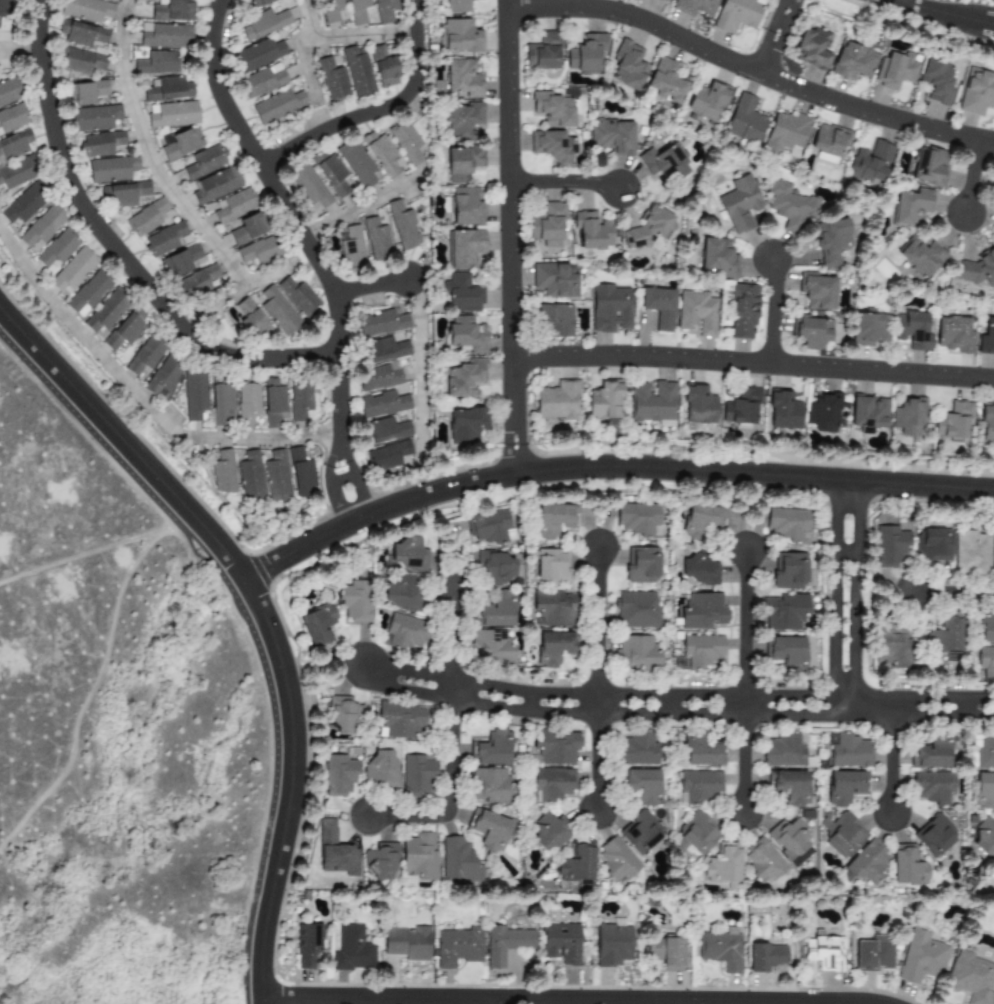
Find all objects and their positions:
building: (662, 0)
building: (259, 3)
road: (504, 4)
building: (456, 6)
building: (694, 6)
building: (3, 8)
building: (86, 9)
building: (173, 10)
building: (332, 10)
building: (357, 11)
building: (386, 11)
road: (937, 12)
building: (736, 14)
road: (781, 17)
road: (982, 22)
road: (989, 22)
building: (264, 24)
building: (81, 33)
road: (346, 35)
building: (165, 36)
building: (459, 36)
road: (18, 44)
building: (811, 48)
building: (542, 52)
building: (585, 52)
road: (767, 54)
building: (258, 55)
building: (853, 61)
road: (304, 62)
building: (157, 63)
building: (627, 66)
building: (383, 68)
road: (748, 69)
building: (895, 69)
building: (358, 71)
building: (333, 78)
building: (459, 79)
building: (263, 81)
building: (665, 81)
building: (937, 81)
building: (168, 89)
building: (8, 92)
building: (976, 92)
building: (85, 93)
building: (707, 100)
building: (277, 107)
road: (376, 109)
building: (552, 109)
building: (174, 115)
building: (12, 118)
building: (94, 118)
building: (462, 119)
building: (744, 120)
building: (785, 132)
building: (612, 135)
building: (406, 142)
building: (829, 142)
building: (100, 143)
building: (181, 143)
building: (14, 145)
building: (552, 146)
building: (382, 153)
road: (148, 156)
building: (205, 161)
building: (870, 162)
building: (357, 163)
building: (462, 163)
building: (663, 163)
building: (929, 166)
building: (111, 169)
building: (17, 172)
building: (331, 173)
road: (971, 176)
road: (267, 179)
road: (563, 182)
building: (993, 183)
building: (308, 185)
building: (215, 186)
building: (123, 194)
building: (739, 203)
building: (789, 204)
building: (23, 205)
building: (234, 205)
road: (358, 206)
building: (466, 206)
building: (911, 207)
building: (146, 218)
building: (547, 224)
building: (403, 226)
building: (42, 227)
building: (247, 229)
building: (646, 229)
building: (592, 230)
building: (163, 240)
building: (376, 240)
road: (509, 241)
building: (831, 241)
building: (464, 247)
building: (57, 248)
building: (352, 248)
road: (114, 249)
building: (260, 251)
building: (716, 257)
building: (920, 257)
building: (180, 261)
building: (978, 268)
building: (72, 271)
building: (555, 279)
building: (197, 282)
road: (245, 285)
road: (370, 286)
building: (816, 291)
building: (461, 293)
building: (88, 294)
building: (298, 296)
building: (658, 306)
building: (609, 309)
road: (772, 310)
building: (279, 311)
building: (743, 311)
building: (106, 312)
building: (696, 313)
building: (250, 318)
building: (554, 320)
building: (381, 323)
building: (125, 329)
building: (868, 329)
building: (912, 330)
building: (811, 331)
building: (466, 334)
building: (954, 335)
building: (986, 337)
building: (386, 350)
building: (145, 356)
road: (753, 363)
road: (419, 367)
building: (162, 377)
building: (379, 377)
building: (464, 378)
building: (194, 395)
road: (139, 397)
road: (338, 397)
building: (299, 400)
building: (556, 400)
building: (604, 400)
building: (652, 401)
building: (247, 403)
building: (273, 403)
building: (221, 404)
building: (383, 404)
building: (698, 404)
building: (741, 406)
building: (783, 410)
building: (822, 413)
building: (867, 413)
building: (907, 417)
building: (952, 421)
building: (465, 423)
building: (986, 424)
building: (384, 431)
road: (123, 443)
building: (387, 456)
road: (347, 457)
road: (116, 459)
road: (329, 460)
road: (607, 467)
building: (223, 472)
building: (301, 473)
building: (250, 477)
building: (276, 477)
road: (341, 479)
road: (359, 496)
road: (336, 506)
building: (637, 518)
building: (553, 520)
building: (701, 520)
building: (787, 523)
building: (488, 526)
road: (845, 541)
building: (932, 544)
building: (889, 547)
building: (970, 552)
building: (407, 554)
building: (993, 560)
building: (641, 564)
building: (550, 566)
building: (494, 569)
building: (698, 569)
building: (790, 571)
road: (235, 583)
building: (400, 591)
road: (957, 594)
building: (354, 600)
building: (552, 608)
building: (495, 610)
building: (635, 610)
building: (702, 611)
building: (783, 611)
building: (317, 624)
building: (986, 625)
road: (596, 629)
building: (405, 632)
road: (743, 633)
building: (944, 635)
building: (891, 645)
road: (451, 646)
building: (489, 647)
building: (553, 647)
building: (702, 651)
building: (785, 652)
building: (636, 653)
road: (843, 658)
building: (986, 661)
road: (629, 694)
road: (522, 709)
building: (343, 714)
road: (794, 714)
building: (400, 721)
park: (121, 729)
building: (556, 746)
building: (491, 748)
building: (636, 749)
building: (700, 750)
building: (783, 750)
building: (849, 750)
building: (983, 750)
building: (930, 752)
road: (891, 754)
road: (595, 761)
road: (743, 764)
building: (382, 767)
building: (417, 774)
building: (338, 775)
road: (291, 784)
building: (552, 784)
building: (642, 784)
building: (491, 785)
building: (788, 786)
building: (844, 786)
building: (699, 787)
building: (932, 787)
building: (984, 790)
road: (275, 791)
road: (448, 794)
building: (488, 828)
building: (549, 832)
building: (640, 832)
building: (845, 835)
building: (695, 836)
building: (934, 836)
building: (984, 837)
building: (789, 840)
building: (419, 856)
building: (459, 859)
building: (617, 859)
building: (381, 862)
building: (577, 862)
building: (763, 862)
building: (723, 864)
building: (866, 864)
building: (907, 866)
building: (991, 872)
building: (560, 942)
building: (408, 943)
building: (505, 943)
building: (613, 944)
building: (306, 945)
building: (458, 947)
building: (721, 948)
building: (352, 949)
building: (825, 951)
building: (665, 952)
building: (872, 953)
building: (921, 956)
building: (765, 957)
building: (971, 977)
road: (260, 1000)
road: (562, 1000)
road: (492, 1002)
road: (695, 1003)

